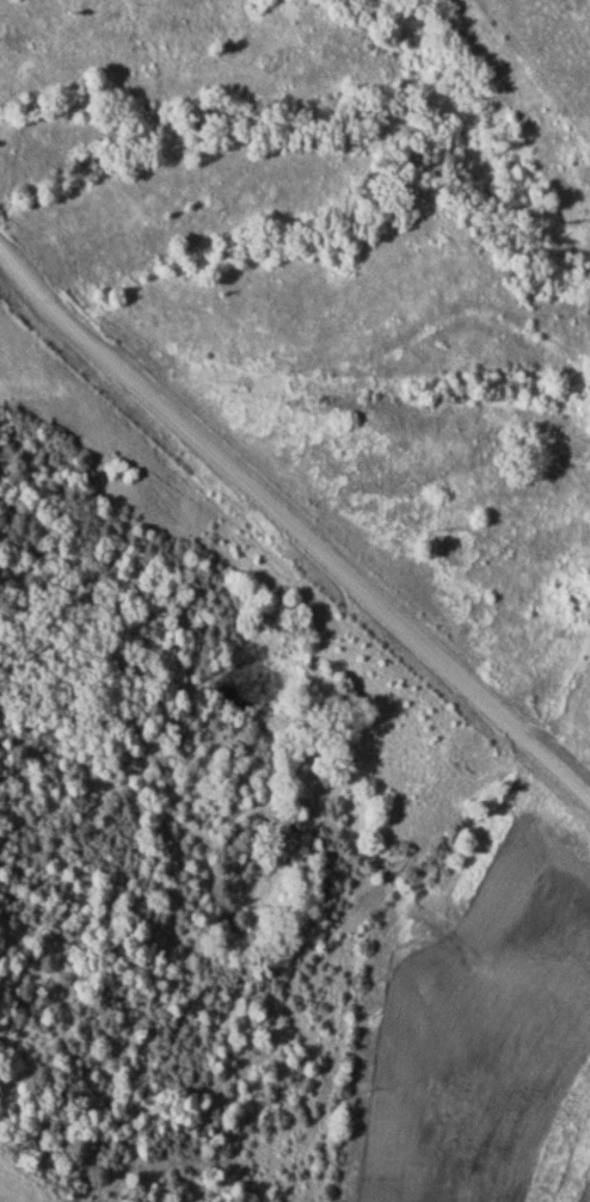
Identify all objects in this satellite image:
road: (291, 522)

